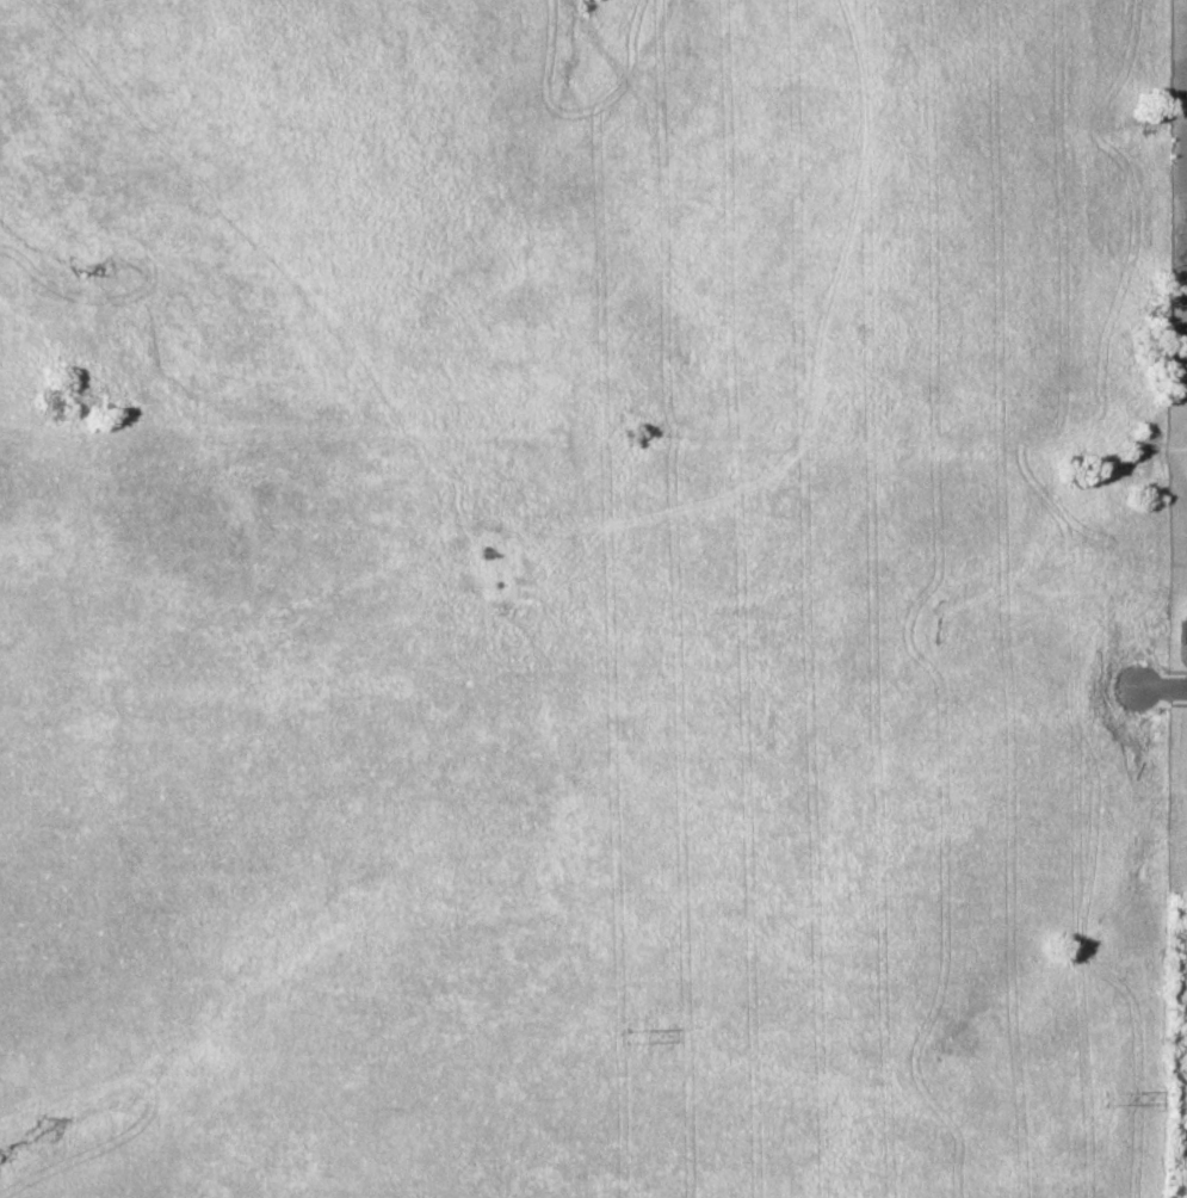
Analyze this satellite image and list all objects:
building: (1181, 629)
road: (1162, 690)
power tower: (626, 1037)
power tower: (1100, 1099)

